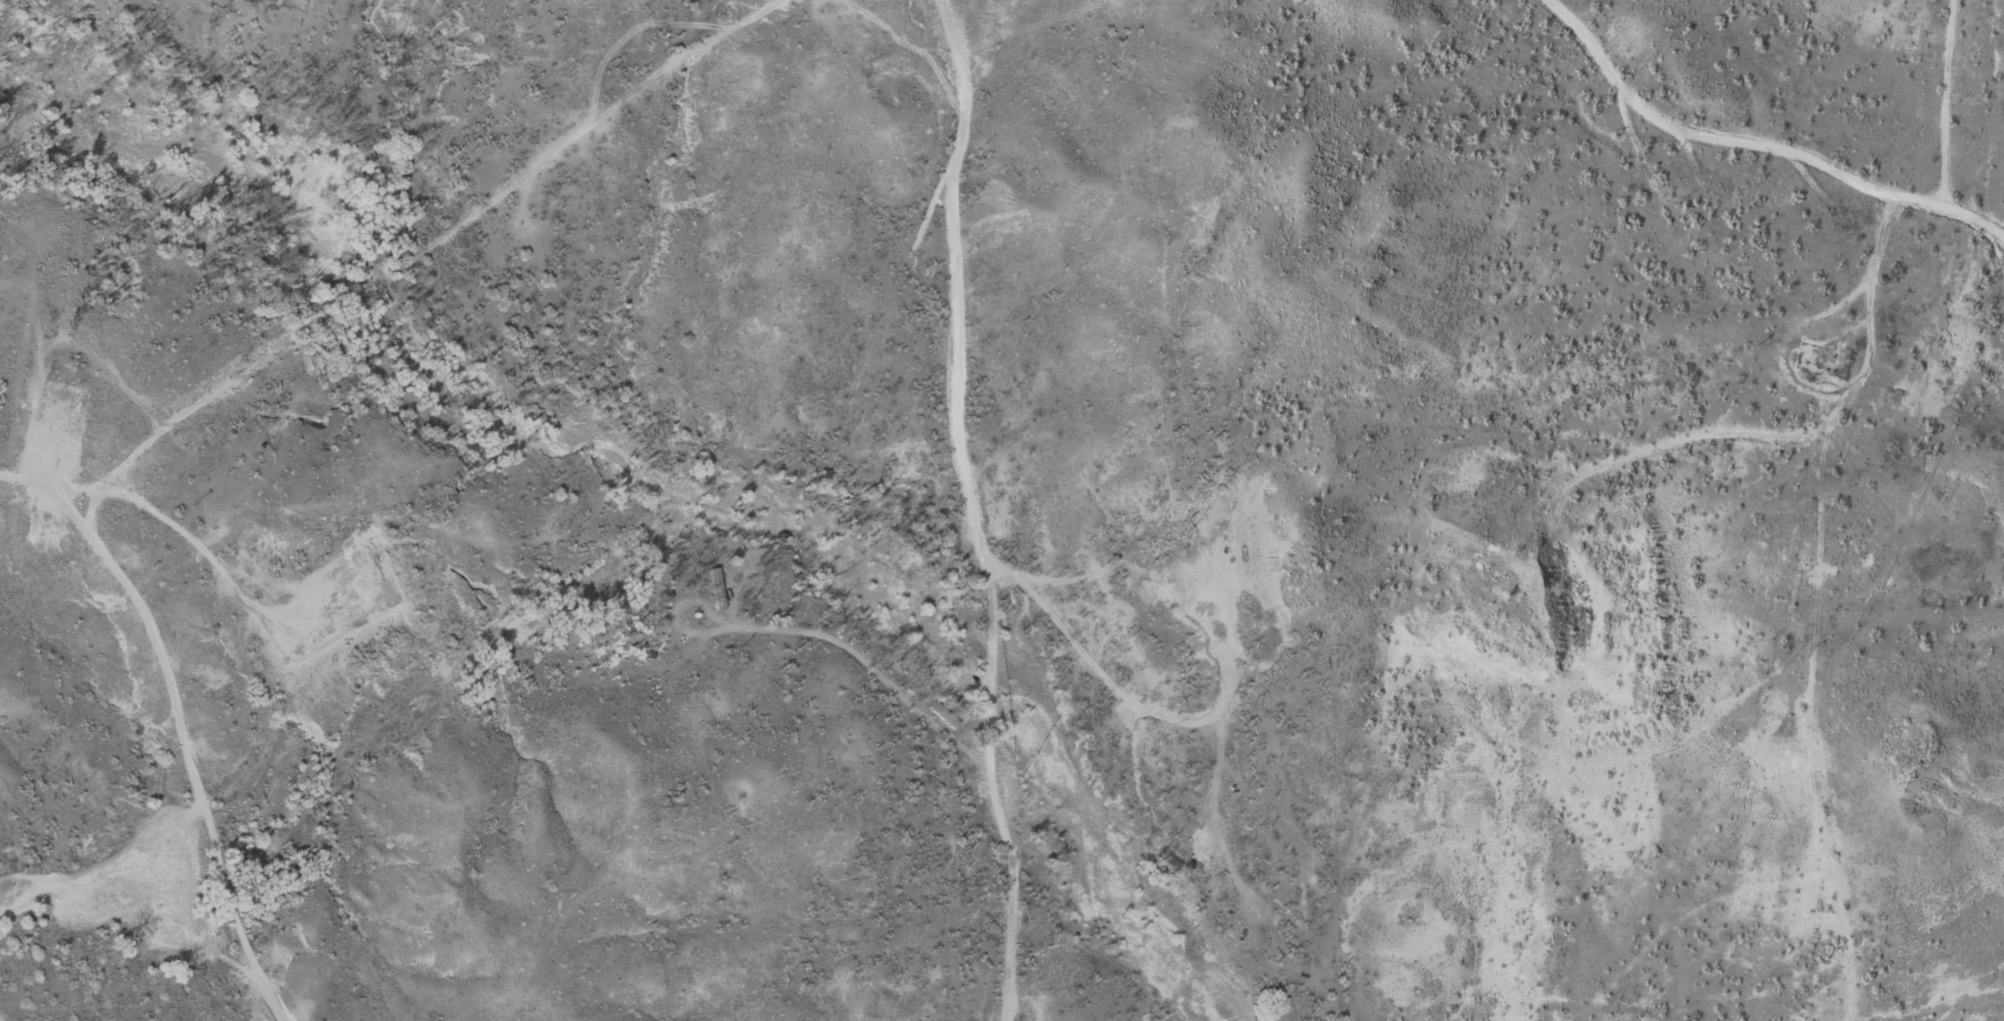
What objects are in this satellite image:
building: (944, 714)

